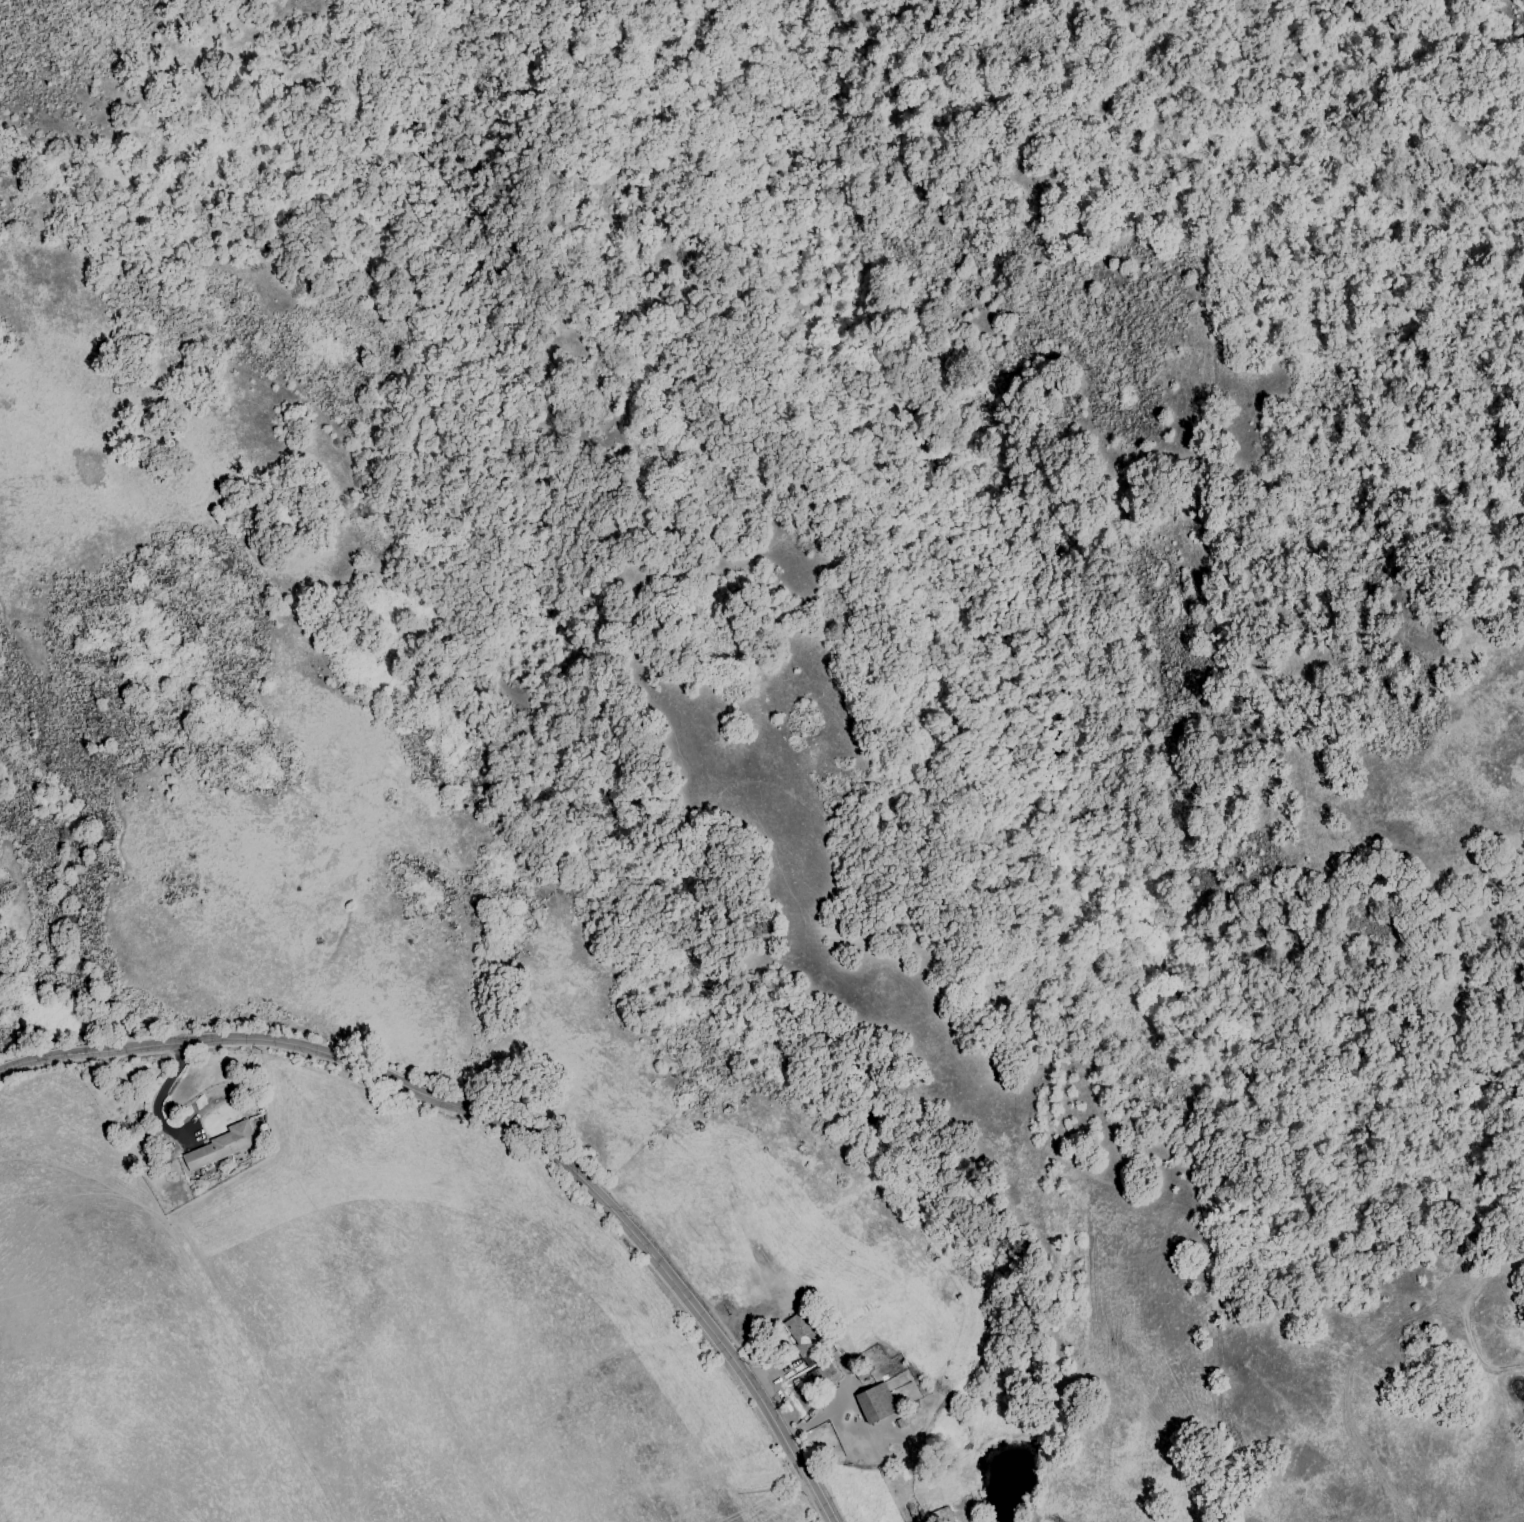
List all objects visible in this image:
road: (316, 1051)
road: (156, 1099)
building: (225, 1146)
building: (799, 1336)
road: (729, 1348)
building: (823, 1374)
building: (877, 1403)
road: (826, 1410)
building: (944, 1514)

